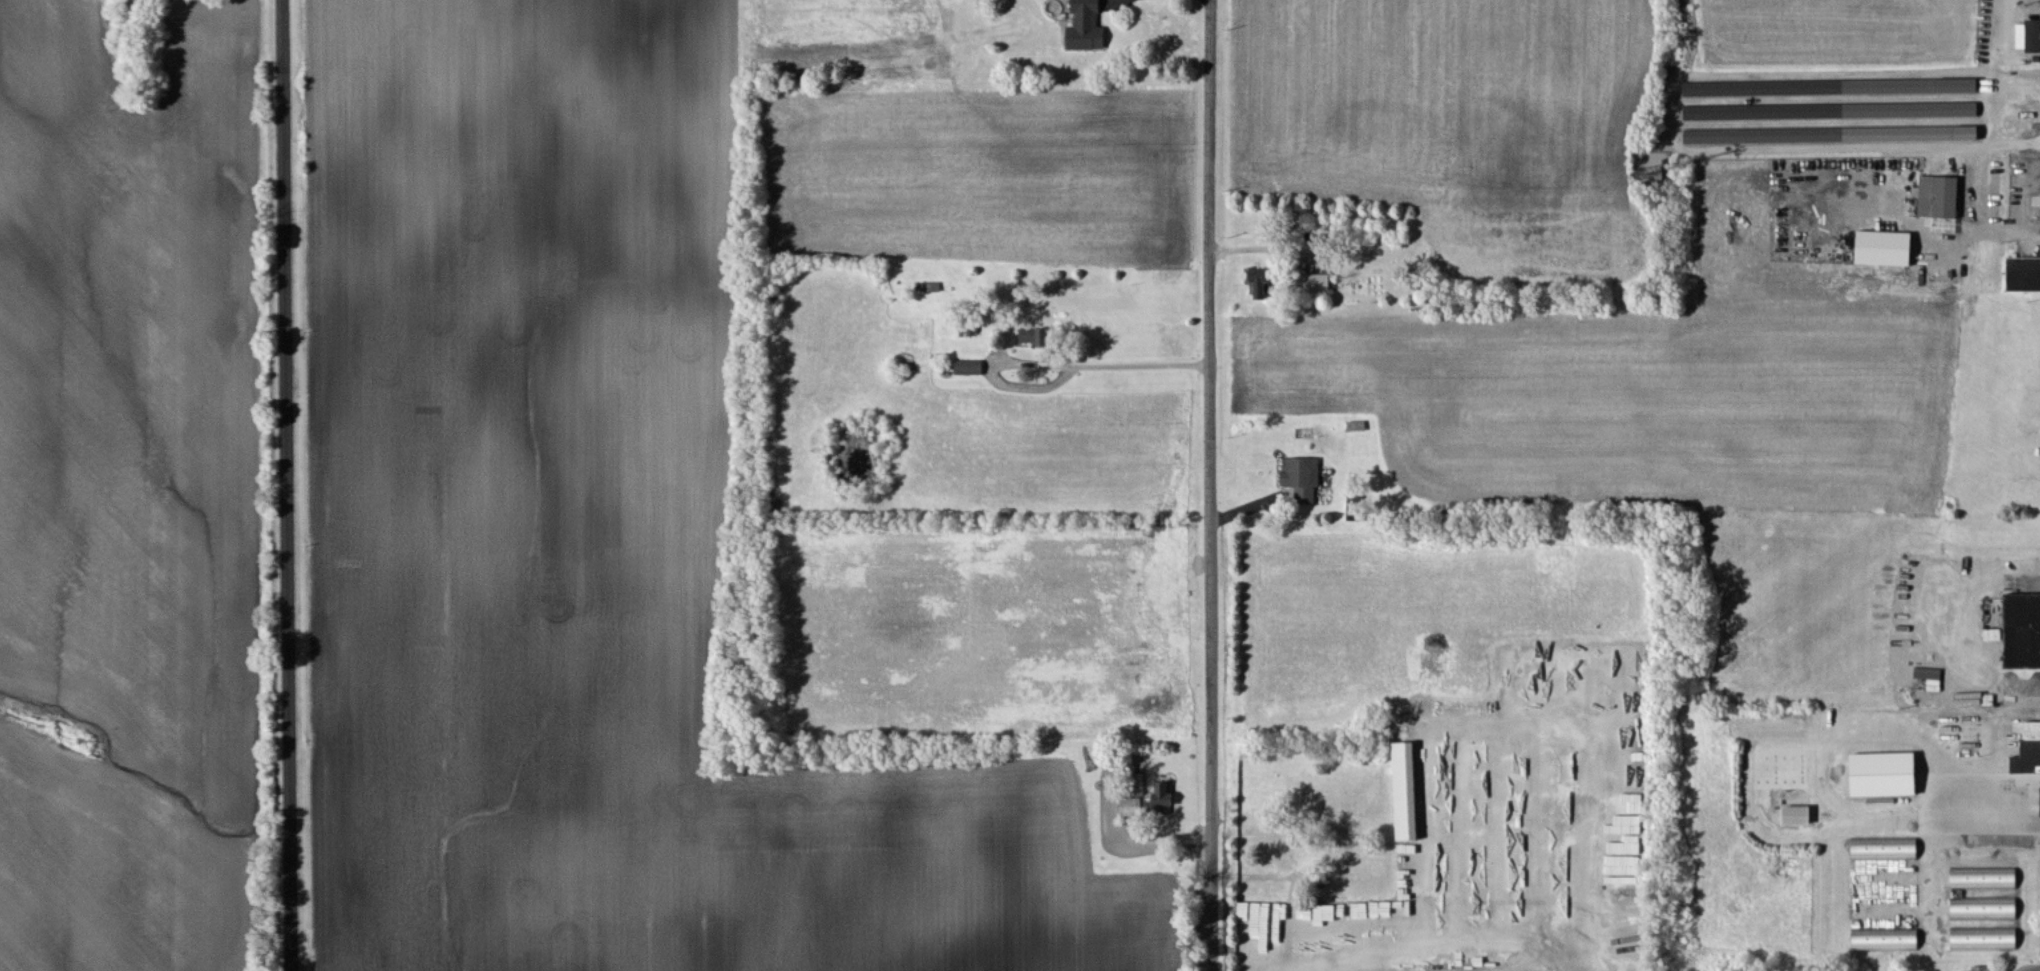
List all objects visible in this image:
building: (1087, 27)
building: (2029, 37)
building: (1959, 87)
building: (1811, 88)
building: (1833, 112)
building: (1833, 136)
road: (1984, 145)
building: (1940, 198)
road: (2017, 201)
building: (1886, 249)
building: (2023, 276)
building: (1262, 285)
building: (1315, 285)
building: (1036, 338)
road: (1104, 367)
building: (970, 368)
building: (1303, 479)
road: (288, 485)
road: (1210, 485)
road: (1957, 621)
building: (2023, 633)
building: (2029, 754)
building: (1887, 776)
building: (1408, 793)
building: (1163, 801)
building: (1132, 808)
building: (1799, 817)
building: (1886, 850)
road: (2027, 863)
building: (1985, 879)
building: (1985, 910)
building: (1247, 913)
road: (1454, 937)
building: (1986, 939)
building: (1887, 940)
building: (1983, 969)

